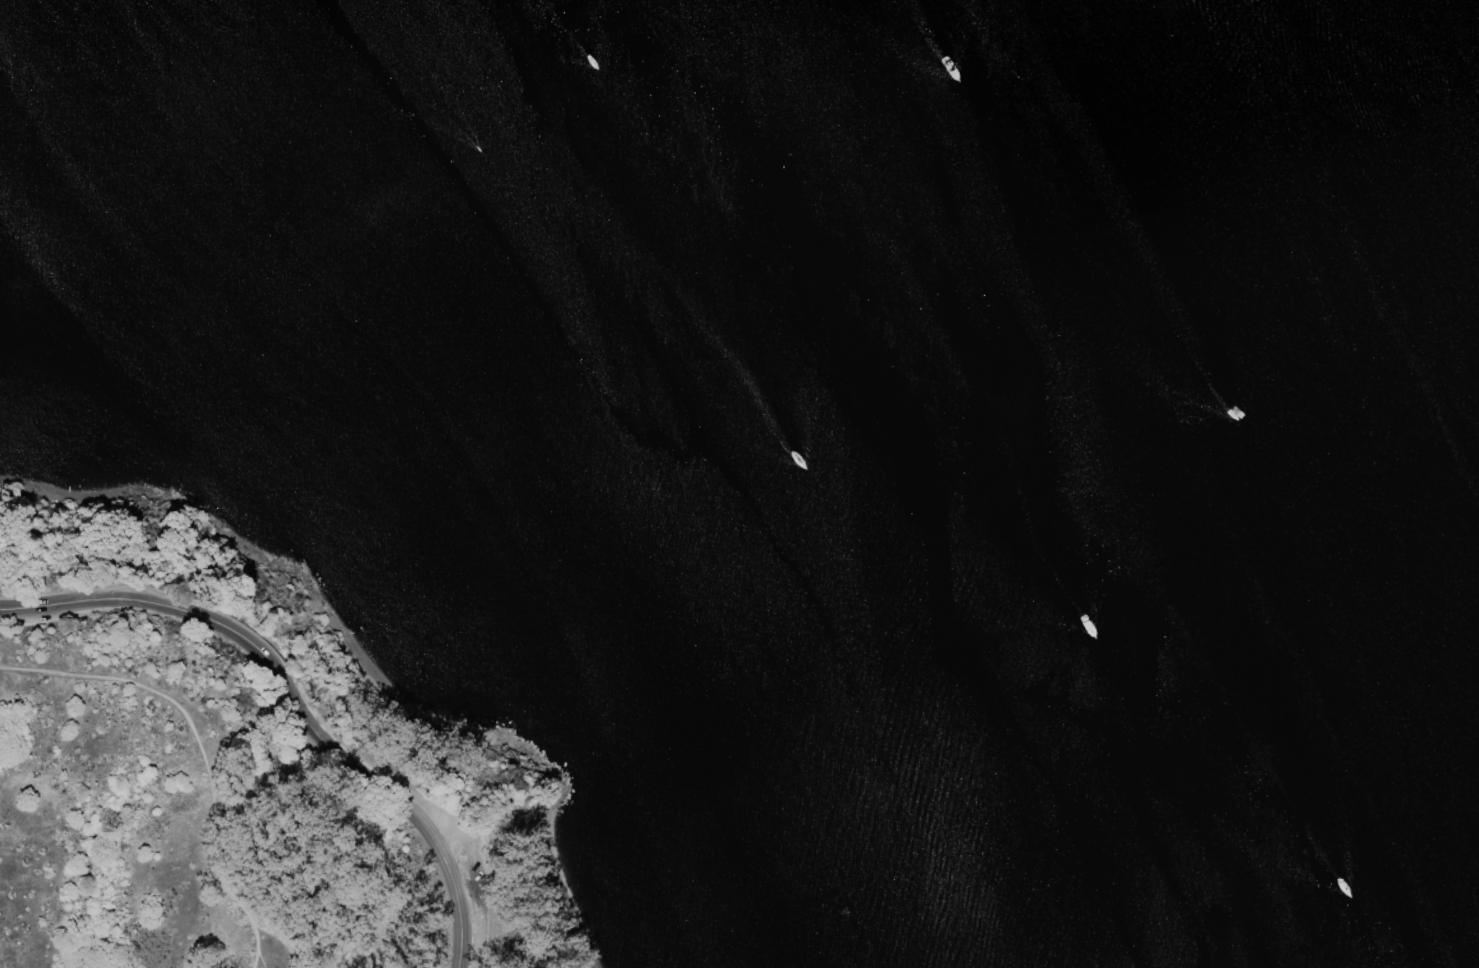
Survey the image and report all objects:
road: (283, 681)
park: (238, 742)
road: (219, 874)
road: (458, 947)
road: (251, 950)
road: (257, 960)
park: (586, 963)

